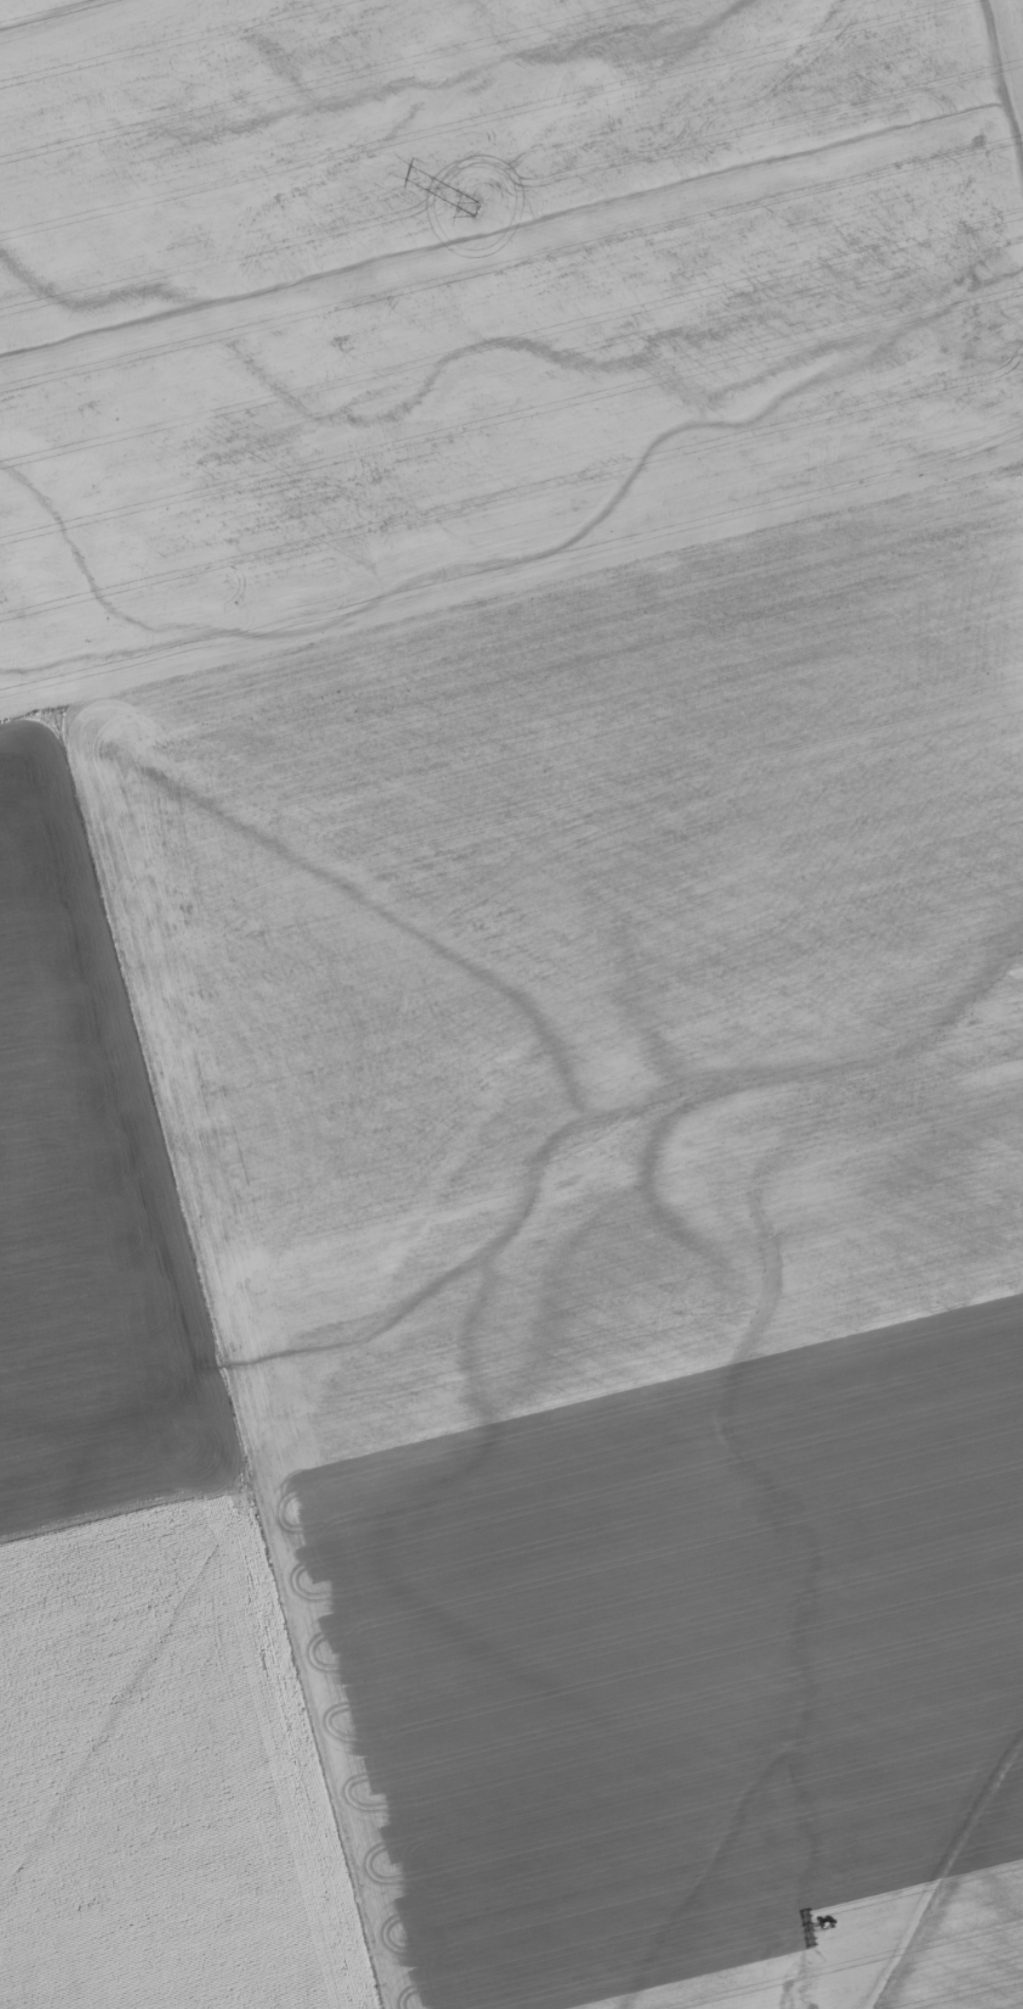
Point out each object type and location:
power tower: (476, 209)

